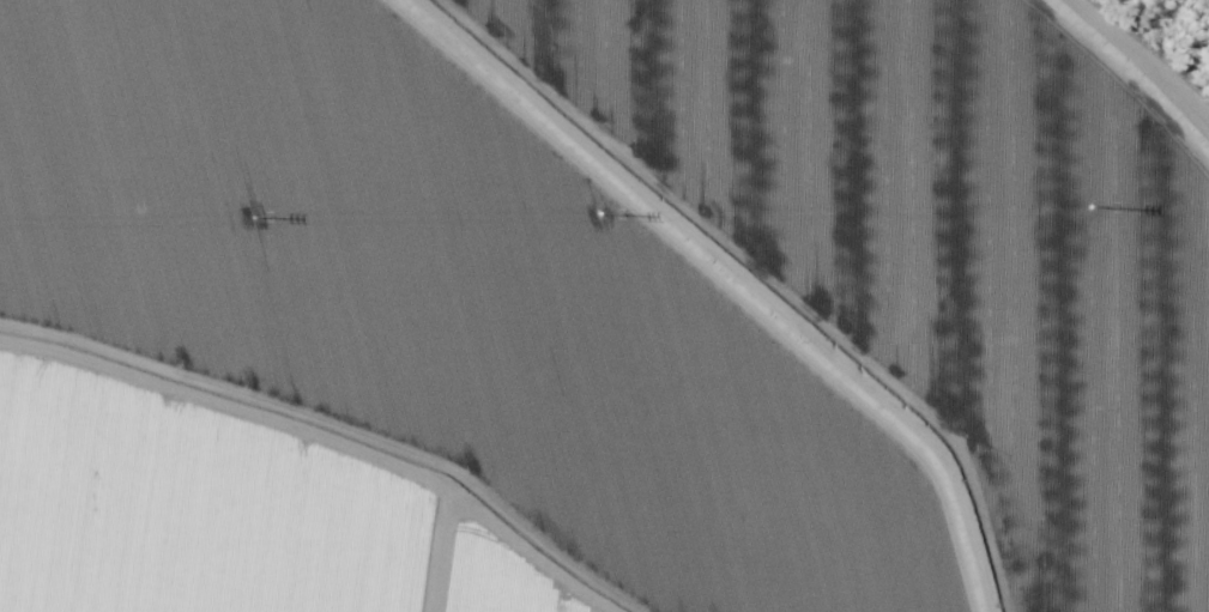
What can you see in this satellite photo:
crop: (597, 309)

